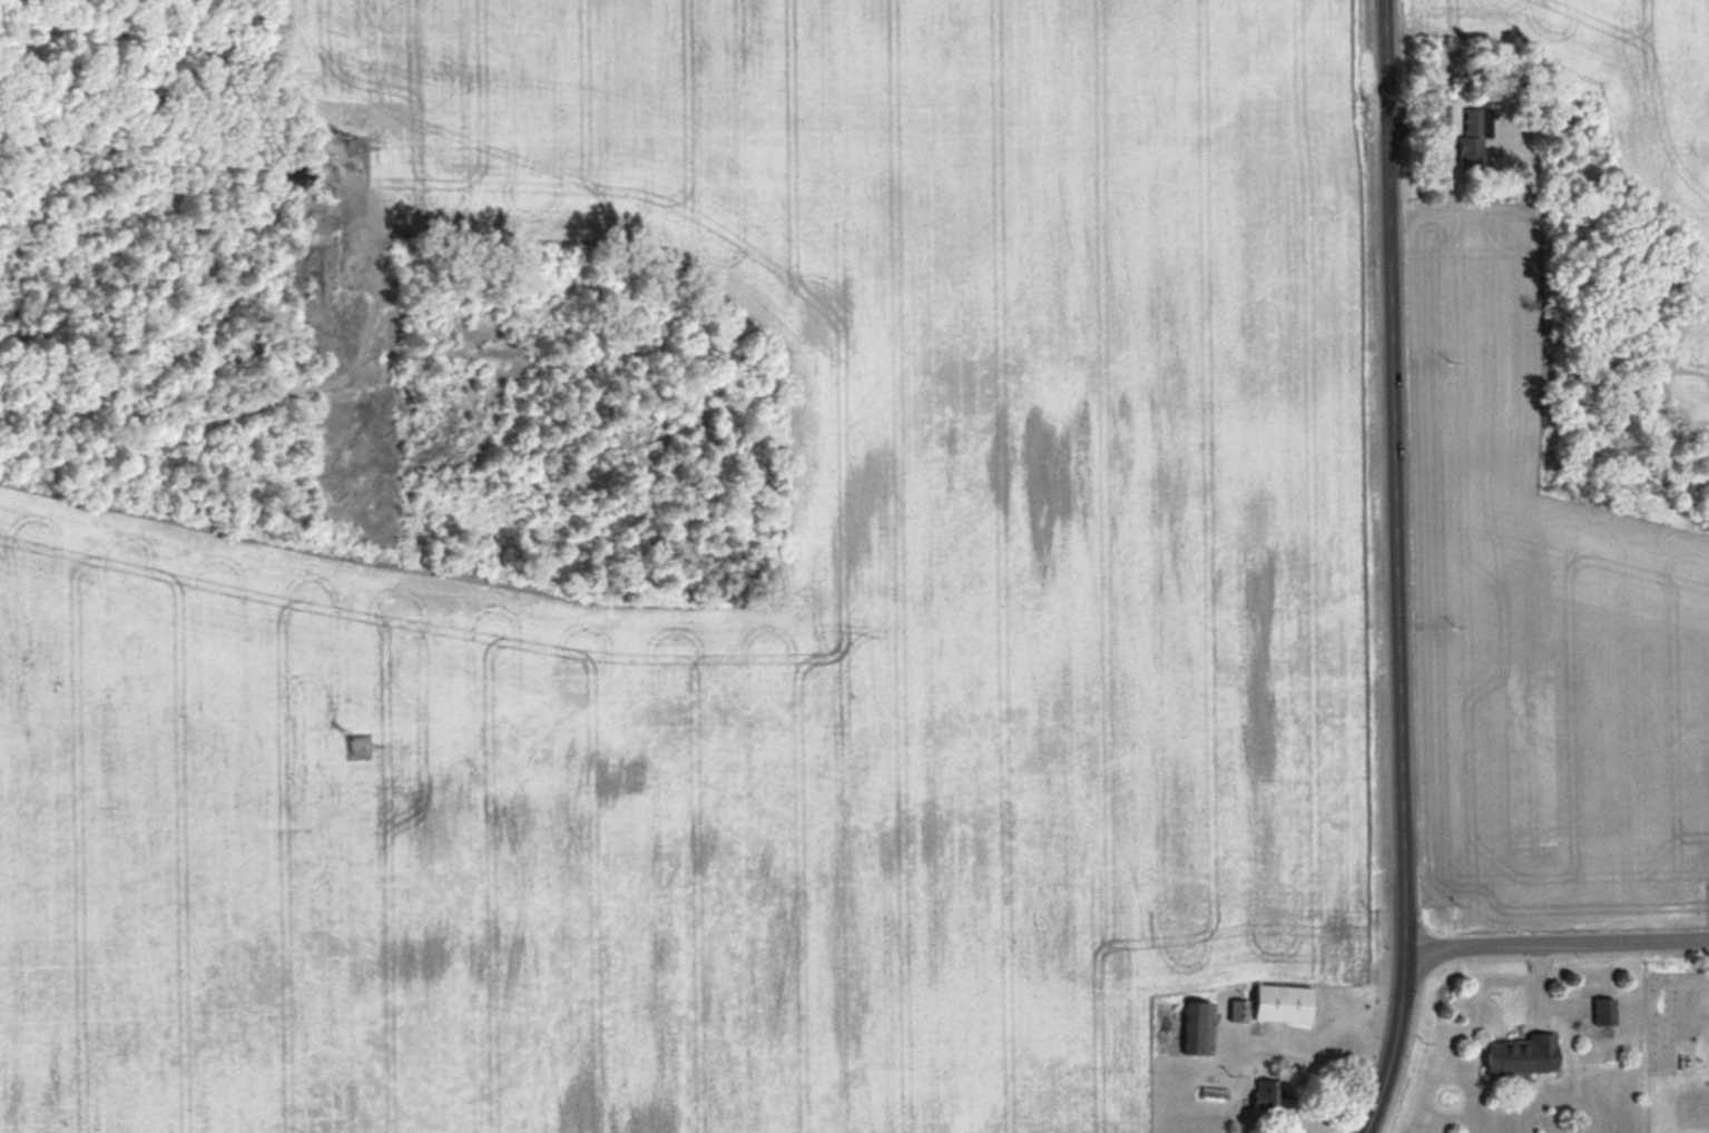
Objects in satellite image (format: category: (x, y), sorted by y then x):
building: (1474, 134)
power tower: (360, 146)
road: (1392, 470)
power tower: (369, 747)
road: (1555, 939)
building: (1285, 1003)
building: (1240, 1011)
building: (1605, 1011)
building: (1200, 1028)
road: (1394, 1040)
building: (1523, 1054)
road: (1318, 1058)
building: (1269, 1094)

